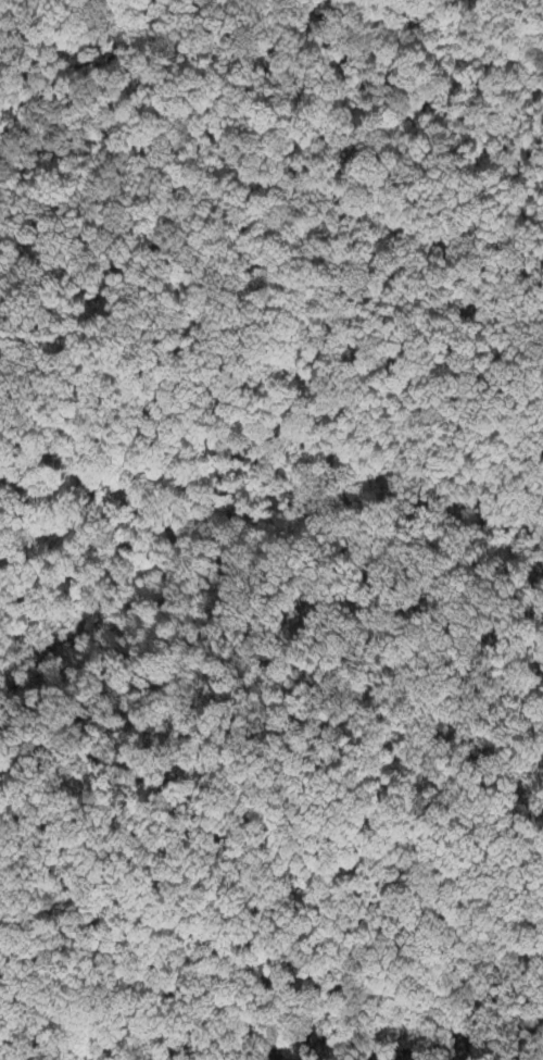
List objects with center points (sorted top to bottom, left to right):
road: (271, 201)
park: (271, 529)

